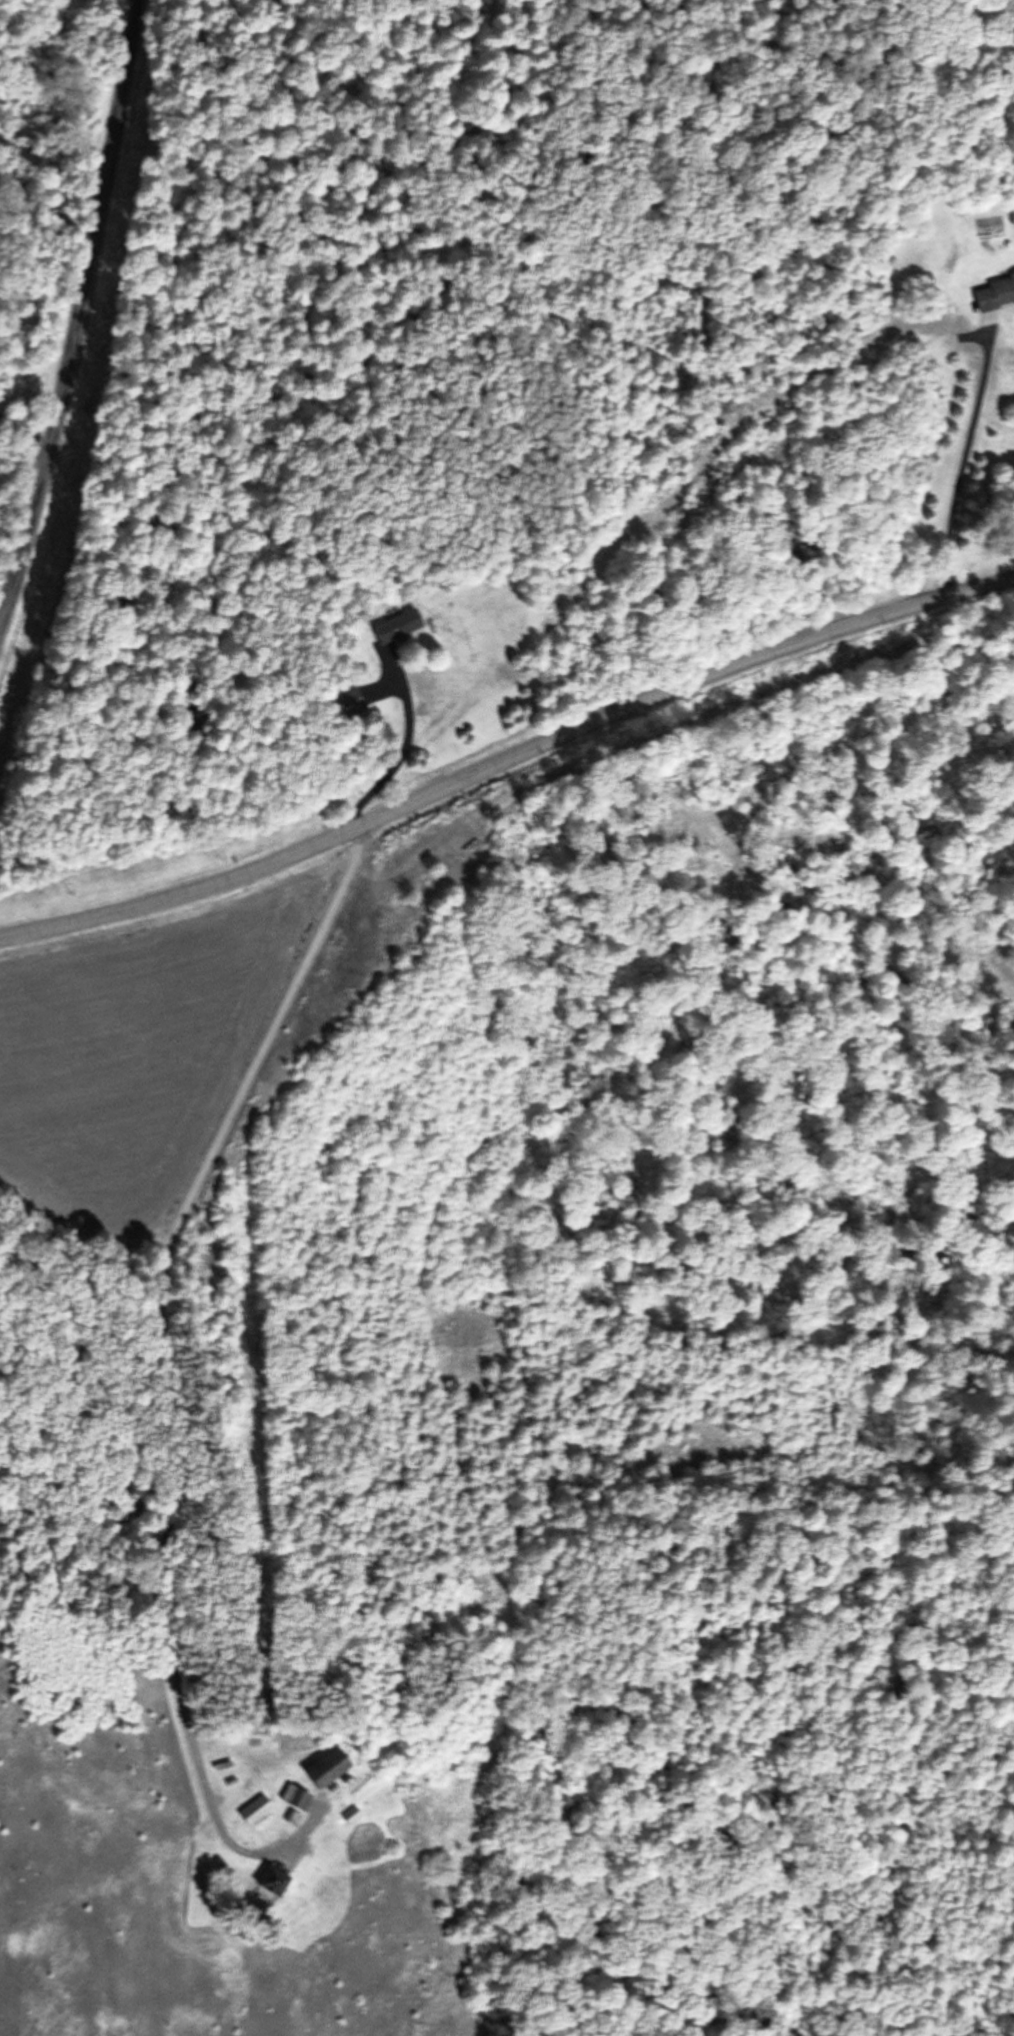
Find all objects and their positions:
building: (993, 292)
road: (79, 316)
building: (863, 368)
building: (398, 623)
road: (507, 762)
crop: (157, 1054)
building: (321, 1767)
building: (293, 1797)
building: (252, 1809)
building: (349, 1815)
building: (291, 1817)
building: (269, 1881)

